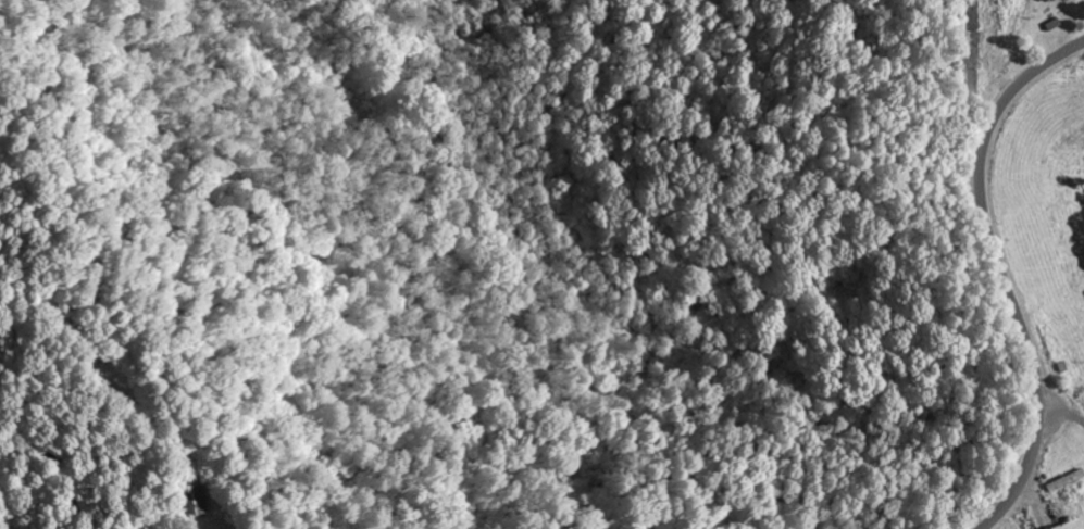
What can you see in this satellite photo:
road: (999, 269)
building: (1072, 525)

